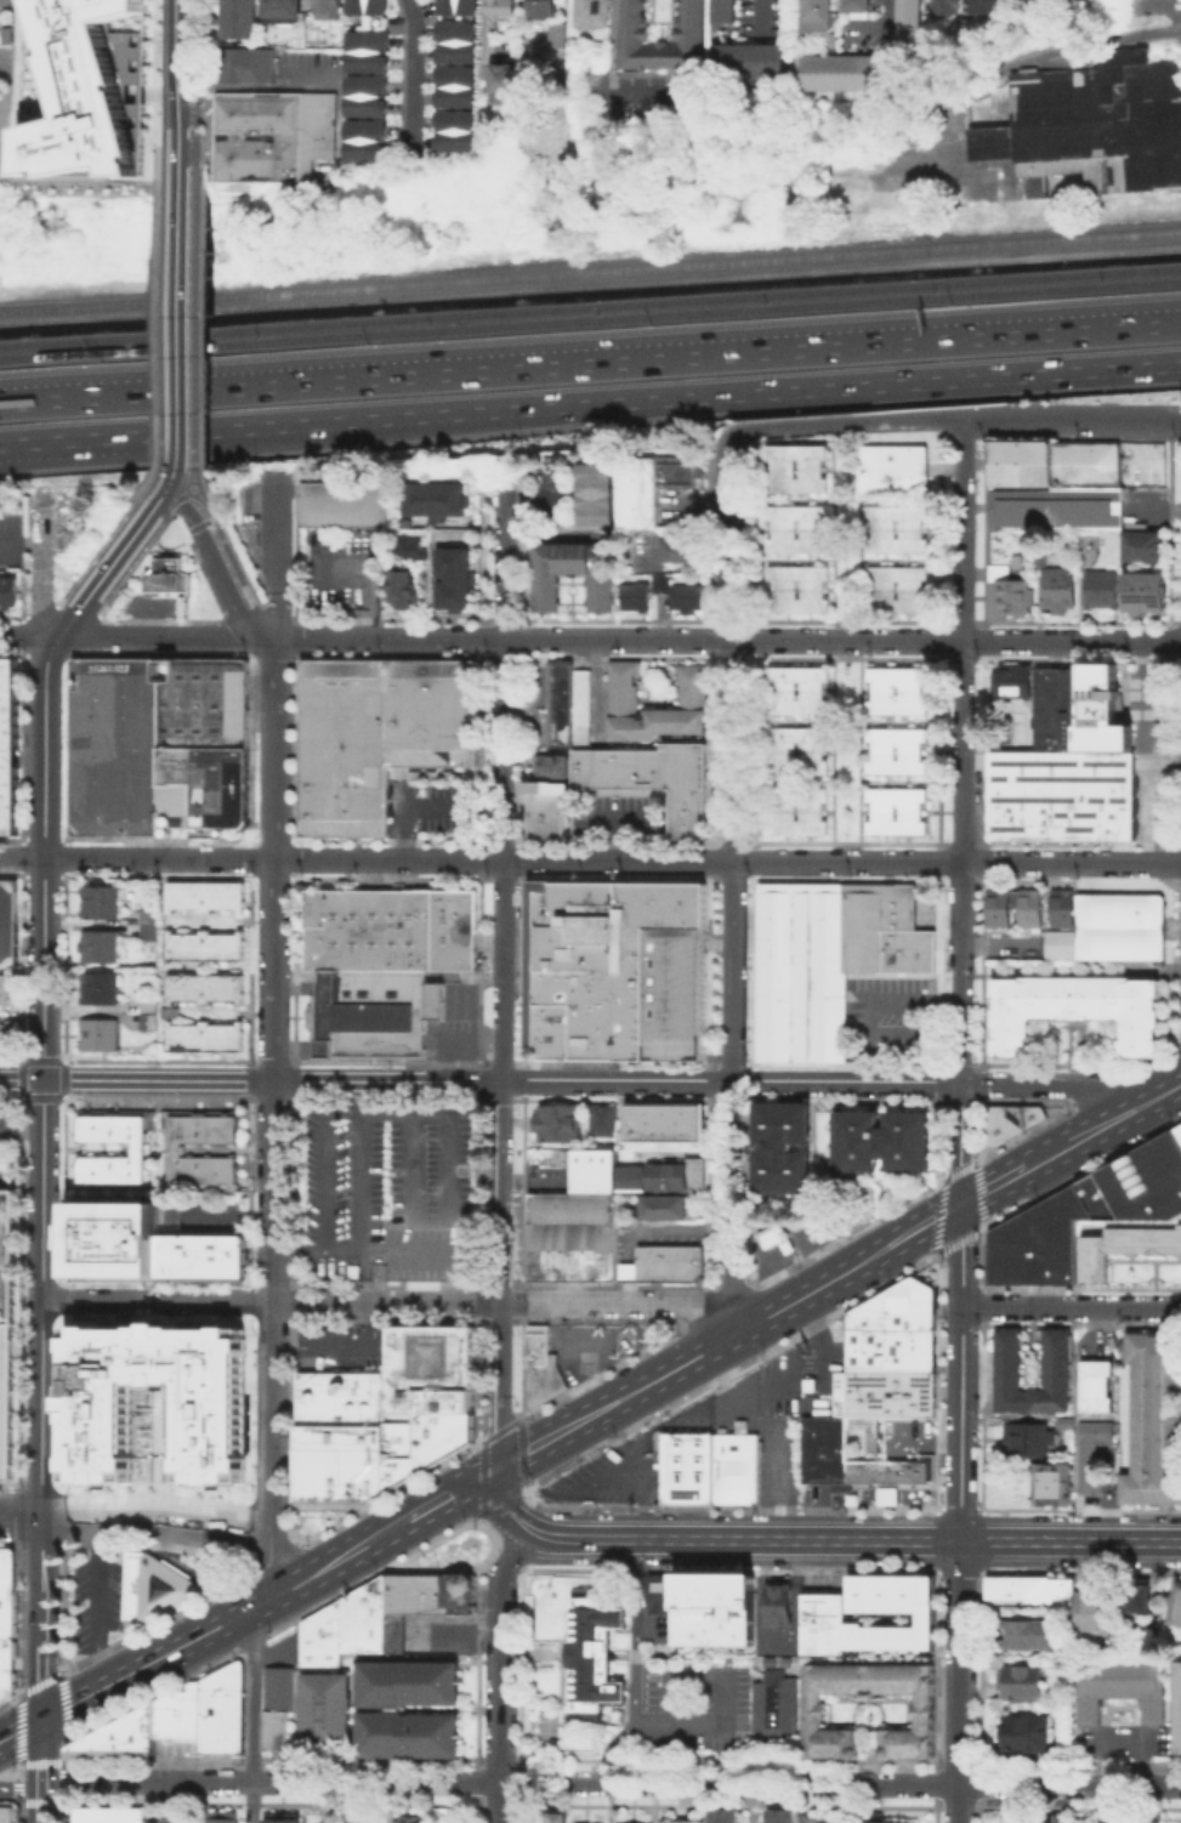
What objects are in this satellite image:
building: (1079, 2)
building: (4, 5)
building: (999, 5)
building: (869, 6)
building: (959, 6)
building: (364, 8)
building: (455, 8)
building: (503, 10)
building: (543, 10)
building: (277, 11)
building: (324, 11)
road: (767, 13)
building: (594, 15)
building: (723, 15)
building: (817, 16)
building: (233, 21)
building: (693, 22)
building: (921, 23)
road: (888, 24)
building: (973, 28)
building: (6, 34)
road: (628, 36)
building: (567, 38)
building: (455, 45)
building: (364, 51)
building: (763, 62)
building: (240, 68)
building: (853, 74)
building: (509, 78)
road: (419, 79)
road: (259, 86)
road: (154, 89)
road: (193, 89)
building: (80, 90)
road: (176, 90)
building: (455, 90)
building: (365, 97)
building: (1090, 125)
building: (268, 130)
building: (455, 134)
building: (367, 144)
building: (331, 174)
railway: (590, 269)
road: (590, 285)
railway: (590, 303)
railway: (590, 317)
road: (175, 324)
road: (192, 329)
road: (199, 336)
road: (153, 340)
road: (590, 362)
road: (812, 388)
road: (1072, 416)
road: (290, 422)
road: (847, 424)
road: (69, 437)
road: (69, 442)
building: (1023, 464)
building: (1086, 464)
building: (897, 475)
building: (800, 476)
road: (165, 482)
road: (197, 482)
building: (653, 488)
road: (197, 493)
road: (171, 494)
building: (598, 496)
building: (436, 499)
building: (341, 502)
building: (1057, 507)
road: (215, 515)
road: (199, 522)
road: (964, 529)
road: (183, 530)
building: (899, 534)
building: (800, 535)
road: (728, 538)
road: (21, 540)
road: (168, 545)
building: (409, 547)
building: (1141, 549)
road: (233, 550)
road: (93, 551)
building: (682, 552)
road: (279, 555)
road: (217, 563)
road: (505, 564)
road: (41, 566)
road: (107, 566)
road: (233, 567)
building: (169, 575)
building: (455, 578)
road: (370, 585)
building: (402, 585)
building: (1057, 589)
building: (1100, 590)
building: (1012, 591)
building: (1143, 591)
building: (549, 592)
building: (901, 595)
building: (801, 596)
building: (685, 597)
building: (8, 598)
building: (638, 598)
road: (40, 610)
road: (276, 613)
road: (98, 614)
road: (221, 618)
road: (155, 619)
road: (19, 634)
road: (234, 634)
road: (28, 637)
road: (165, 637)
road: (727, 638)
road: (69, 649)
road: (12, 652)
building: (1010, 681)
building: (624, 686)
building: (799, 688)
building: (898, 691)
building: (569, 706)
building: (1054, 710)
building: (1102, 712)
building: (380, 740)
parking lot: (1146, 744)
road: (19, 745)
building: (796, 749)
building: (898, 749)
building: (8, 750)
building: (118, 750)
building: (205, 750)
road: (1146, 751)
road: (1164, 761)
building: (551, 766)
building: (653, 779)
building: (1060, 796)
building: (797, 808)
building: (898, 812)
building: (546, 817)
road: (12, 837)
road: (41, 856)
road: (503, 858)
road: (590, 859)
road: (963, 861)
building: (204, 893)
building: (101, 904)
building: (993, 904)
building: (1026, 904)
building: (1058, 905)
building: (147, 922)
building: (8, 925)
building: (1117, 925)
building: (881, 928)
building: (392, 930)
building: (1058, 943)
building: (203, 945)
building: (100, 948)
building: (609, 967)
building: (797, 970)
building: (203, 987)
building: (7, 988)
road: (729, 988)
building: (100, 989)
building: (1072, 1009)
building: (146, 1012)
building: (376, 1013)
parking lot: (886, 1013)
building: (203, 1035)
building: (7, 1037)
building: (100, 1037)
traffic signals: (44, 1079)
road: (251, 1080)
road: (731, 1080)
road: (1044, 1083)
road: (272, 1115)
building: (596, 1119)
building: (1006, 1119)
building: (551, 1121)
building: (657, 1121)
road: (1105, 1123)
building: (1177, 1132)
road: (329, 1135)
building: (875, 1140)
road: (960, 1142)
parking lot: (8, 1143)
building: (776, 1148)
building: (178, 1151)
building: (140, 1152)
building: (586, 1171)
building: (658, 1171)
building: (1145, 1180)
parking lot: (377, 1181)
road: (994, 1183)
traffic signals: (961, 1203)
building: (658, 1208)
road: (453, 1220)
road: (364, 1225)
building: (1043, 1234)
building: (773, 1237)
building: (566, 1238)
building: (118, 1242)
building: (1122, 1246)
building: (199, 1253)
building: (428, 1255)
building: (665, 1261)
road: (501, 1272)
road: (157, 1301)
road: (507, 1304)
road: (1072, 1306)
building: (6, 1333)
road: (551, 1333)
road: (733, 1336)
road: (552, 1344)
parking lot: (339, 1347)
parking lot: (589, 1347)
road: (558, 1352)
building: (888, 1352)
building: (1058, 1358)
helipad: (421, 1359)
road: (41, 1361)
building: (539, 1365)
road: (960, 1375)
building: (1098, 1387)
building: (95, 1403)
building: (382, 1415)
building: (1156, 1420)
parking lot: (727, 1424)
building: (1067, 1424)
parking lot: (907, 1436)
building: (1029, 1441)
building: (818, 1449)
building: (1094, 1455)
traffic signals: (503, 1464)
building: (683, 1466)
building: (733, 1466)
building: (887, 1470)
building: (1055, 1486)
road: (454, 1490)
road: (505, 1499)
road: (958, 1506)
road: (135, 1516)
road: (958, 1529)
road: (936, 1538)
road: (980, 1538)
road: (700, 1539)
road: (1109, 1541)
road: (958, 1549)
road: (958, 1571)
building: (159, 1586)
building: (1030, 1589)
building: (658, 1592)
parking lot: (103, 1595)
building: (431, 1598)
building: (1141, 1600)
building: (1176, 1606)
building: (712, 1607)
building: (782, 1607)
building: (898, 1612)
building: (6, 1617)
building: (1098, 1618)
road: (226, 1623)
building: (367, 1623)
building: (825, 1626)
road: (458, 1628)
building: (1033, 1637)
building: (325, 1642)
building: (595, 1656)
road: (632, 1665)
road: (499, 1671)
road: (41, 1681)
road: (958, 1685)
building: (1026, 1685)
building: (1114, 1687)
building: (410, 1689)
building: (283, 1693)
road: (254, 1697)
building: (777, 1704)
parking lot: (688, 1706)
building: (1177, 1708)
building: (926, 1709)
building: (209, 1711)
traffic signals: (41, 1720)
building: (329, 1720)
road: (704, 1721)
road: (19, 1731)
building: (1027, 1734)
building: (126, 1736)
building: (279, 1736)
parking lot: (1114, 1742)
building: (410, 1743)
road: (41, 1753)
road: (611, 1783)
road: (21, 1788)
road: (177, 1802)
road: (251, 1802)
road: (40, 1804)
building: (6, 1813)
building: (108, 1813)
parking lot: (176, 1813)
building: (725, 1815)
building: (783, 1816)
building: (222, 1817)
building: (358, 1817)
building: (550, 1817)
building: (282, 1818)
building: (409, 1819)
building: (824, 1819)
building: (685, 1821)
building: (890, 1821)
building: (1030, 1821)
building: (1103, 1821)
building: (570, 1822)

